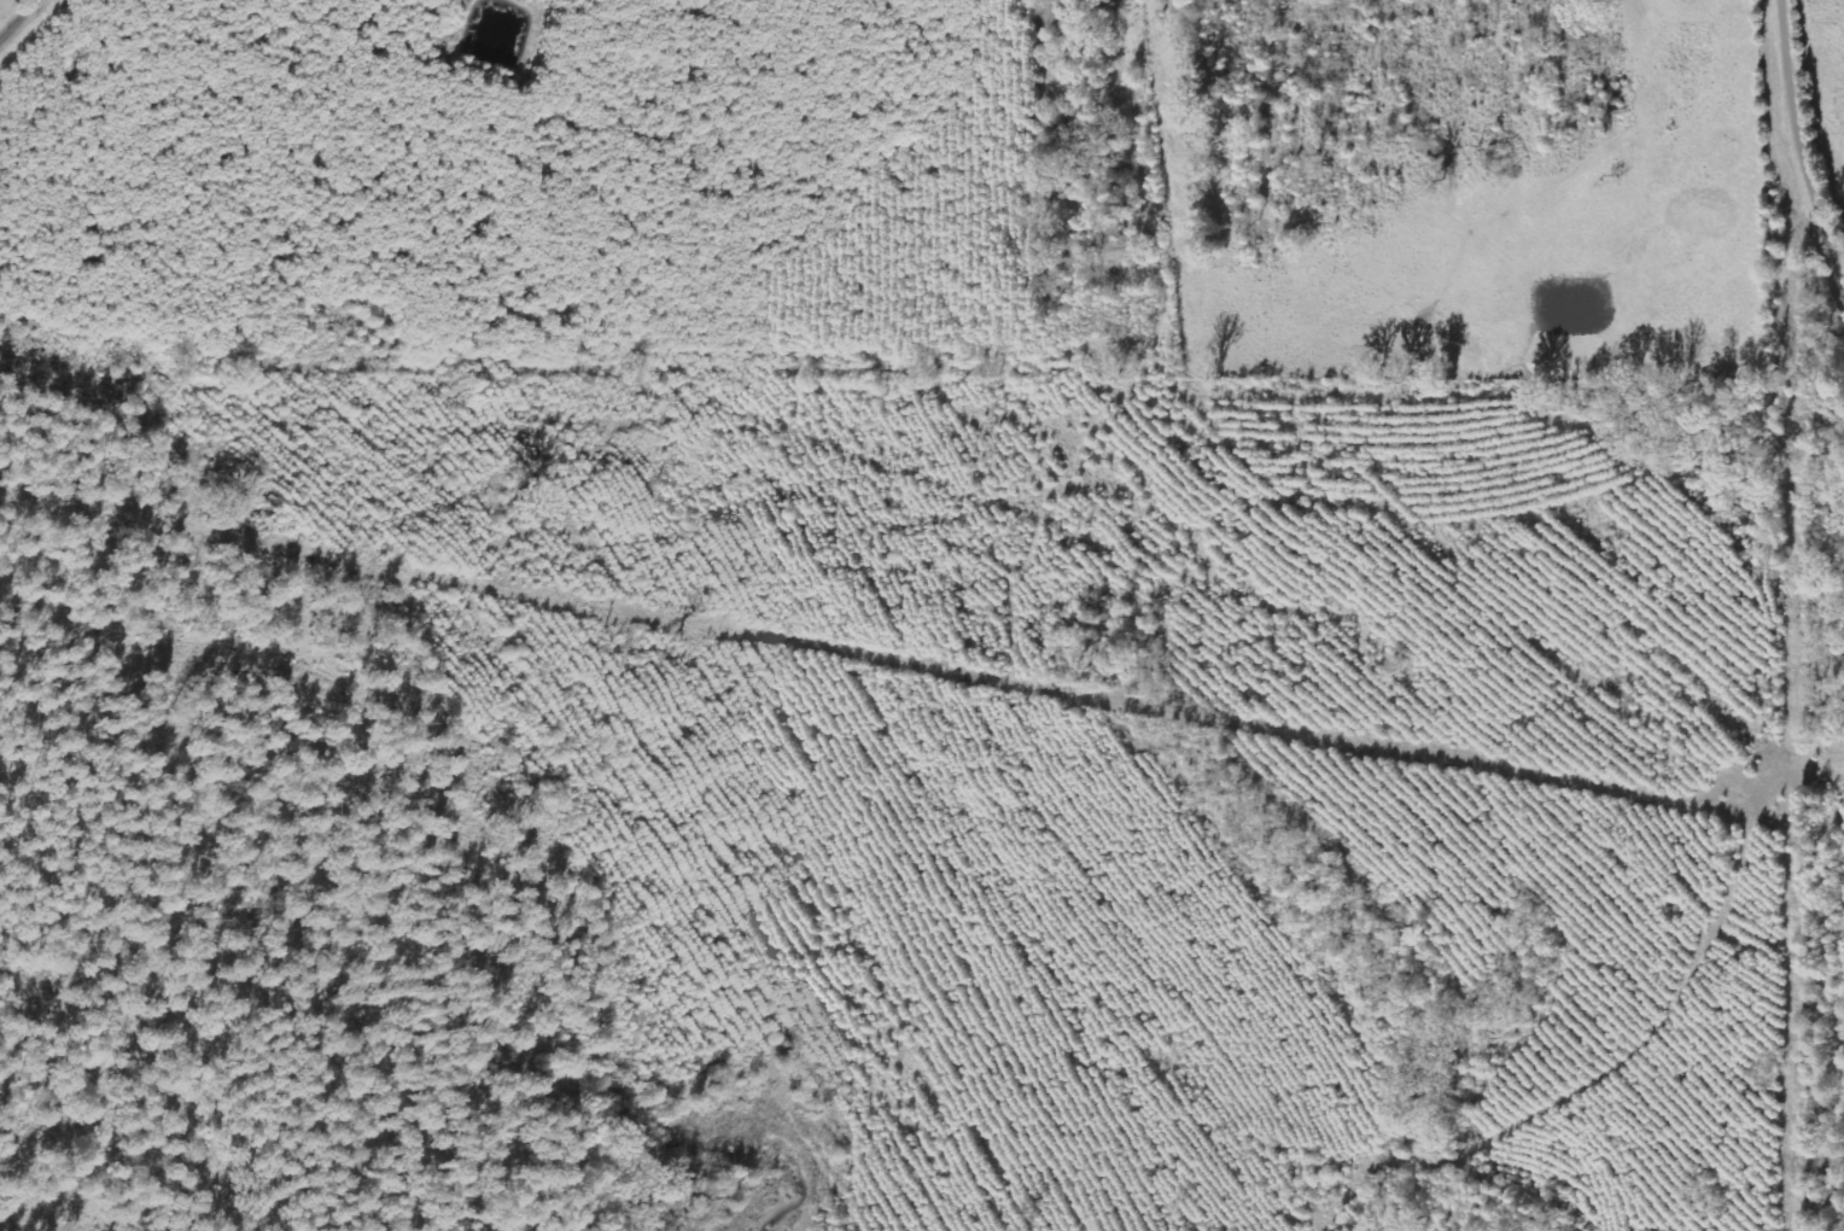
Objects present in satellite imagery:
road: (1808, 127)

